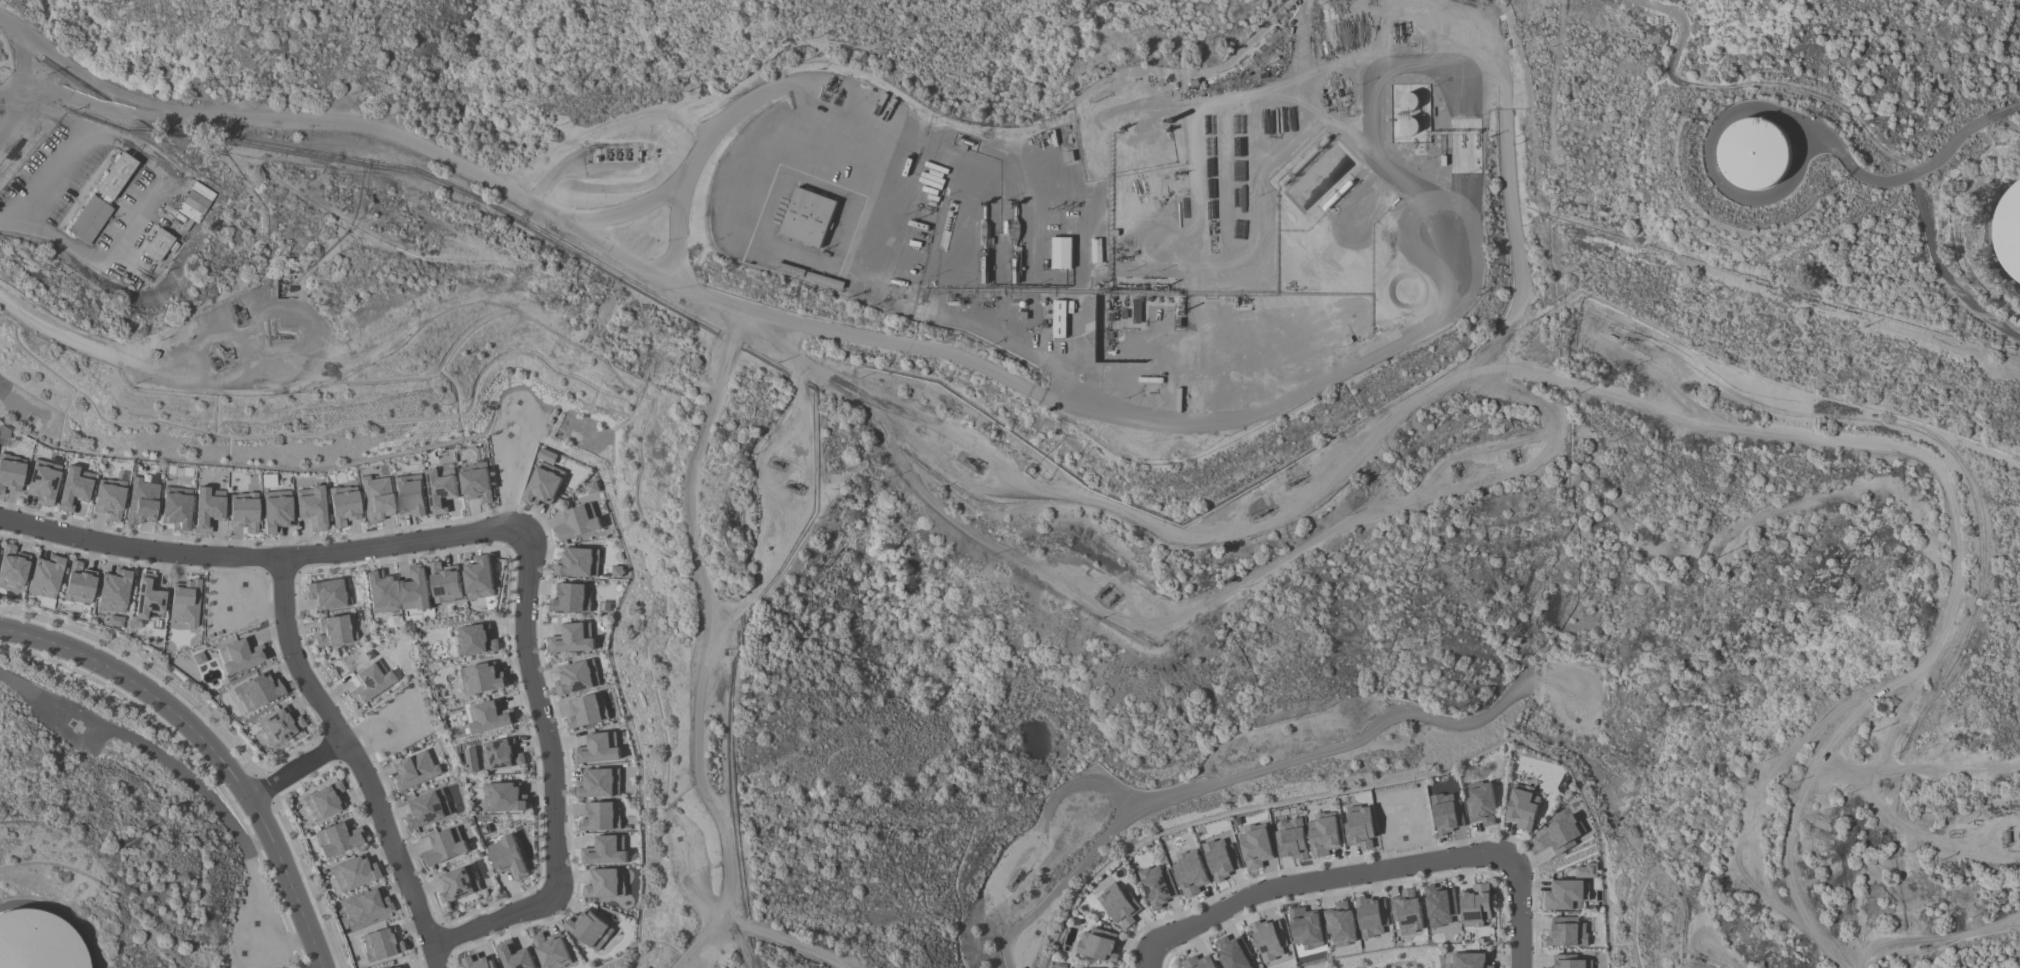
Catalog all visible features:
road: (1305, 19)
road: (23, 67)
road: (1803, 97)
road: (7, 104)
road: (7, 118)
road: (609, 124)
building: (1754, 155)
storage tank: (1754, 155)
road: (160, 175)
building: (114, 177)
building: (195, 202)
road: (628, 209)
building: (807, 217)
building: (89, 219)
road: (16, 221)
building: (2017, 232)
storage tank: (2017, 232)
building: (158, 244)
building: (1060, 253)
petroleum well: (235, 309)
building: (1058, 319)
petroleum well: (1629, 338)
petroleum well: (221, 351)
road: (1066, 376)
road: (888, 400)
building: (4, 437)
petroleum well: (1514, 454)
petroleum well: (968, 459)
petroleum well: (775, 464)
petroleum well: (1456, 469)
building: (11, 473)
building: (543, 479)
building: (43, 480)
petroleum well: (1293, 481)
building: (475, 483)
petroleum well: (794, 484)
building: (591, 487)
building: (74, 488)
building: (440, 491)
building: (410, 495)
building: (109, 498)
building: (376, 498)
building: (142, 502)
building: (343, 505)
building: (176, 507)
building: (311, 507)
building: (208, 508)
building: (243, 511)
building: (276, 511)
petroleum well: (1263, 513)
building: (577, 523)
road: (266, 562)
building: (577, 563)
building: (12, 567)
building: (45, 577)
building: (478, 578)
building: (445, 582)
building: (78, 584)
building: (415, 589)
petroleum well: (1102, 590)
building: (113, 591)
building: (380, 592)
building: (328, 594)
building: (570, 598)
petroleum well: (1113, 598)
building: (148, 599)
building: (185, 602)
building: (335, 631)
building: (572, 638)
building: (475, 640)
road: (718, 646)
building: (239, 655)
building: (576, 677)
building: (481, 679)
building: (370, 681)
building: (257, 691)
building: (586, 711)
building: (489, 717)
building: (279, 725)
road: (137, 742)
road: (213, 747)
building: (597, 749)
building: (500, 754)
road: (357, 764)
road: (297, 767)
building: (413, 770)
petroleum well: (1752, 773)
road: (1241, 777)
road: (551, 780)
building: (598, 784)
road: (1068, 784)
building: (504, 797)
building: (324, 801)
building: (1481, 805)
building: (1522, 807)
building: (427, 808)
building: (1446, 813)
building: (600, 816)
building: (1359, 827)
building: (1323, 834)
building: (1561, 834)
building: (337, 839)
building: (1290, 840)
building: (444, 847)
building: (1255, 847)
building: (604, 851)
building: (507, 857)
building: (1220, 859)
road: (1365, 871)
building: (1585, 871)
building: (353, 873)
building: (1191, 875)
petroleum well: (1018, 877)
building: (604, 883)
building: (457, 884)
building: (1156, 885)
building: (1566, 895)
road: (261, 899)
building: (1475, 905)
building: (1120, 906)
building: (366, 907)
building: (1439, 907)
building: (1407, 911)
building: (1371, 917)
building: (1341, 924)
building: (1305, 928)
building: (588, 929)
building: (1566, 932)
building: (38, 938)
storage tank: (38, 938)
building: (1268, 940)
building: (381, 944)
building: (1096, 944)
petroleum well: (1923, 944)
building: (551, 950)
building: (1232, 952)
building: (514, 956)
petroleum well: (1695, 957)
building: (1471, 960)
building: (478, 962)
building: (1198, 962)
building: (1571, 963)
building: (396, 967)

